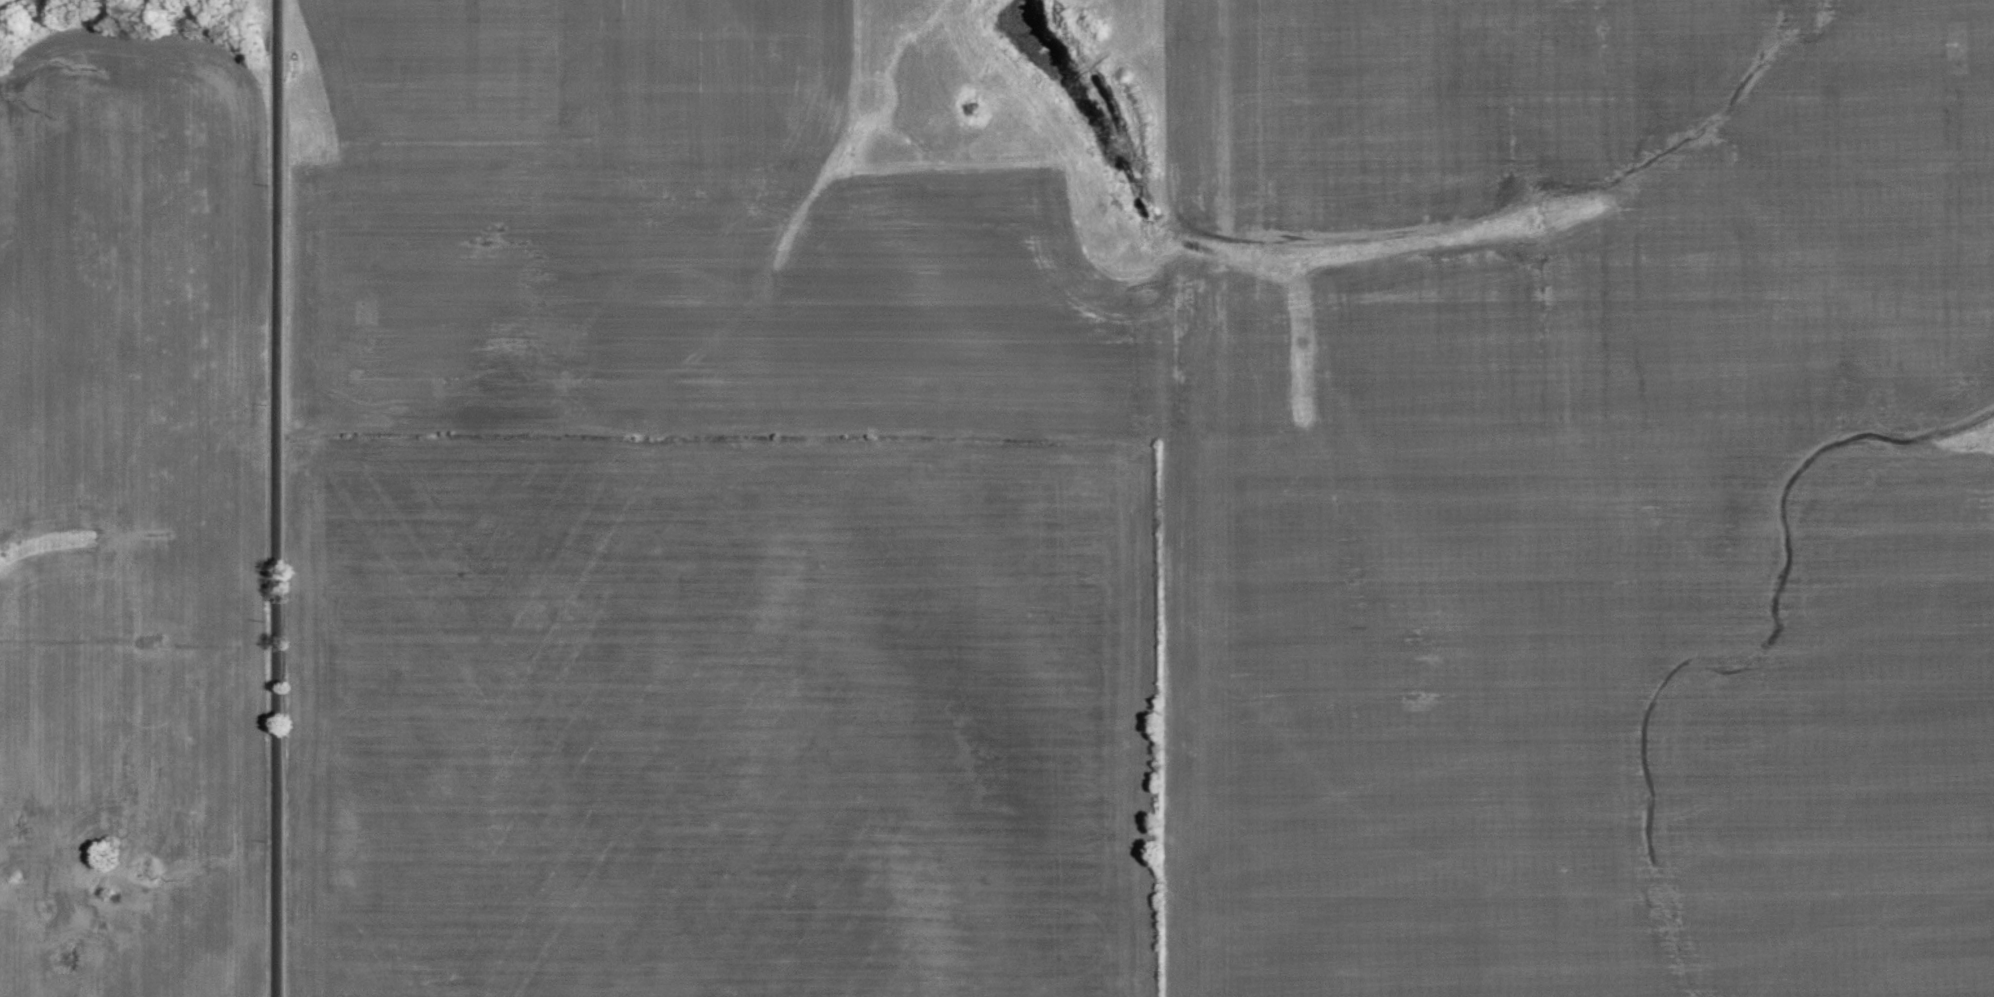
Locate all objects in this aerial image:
road: (281, 498)

